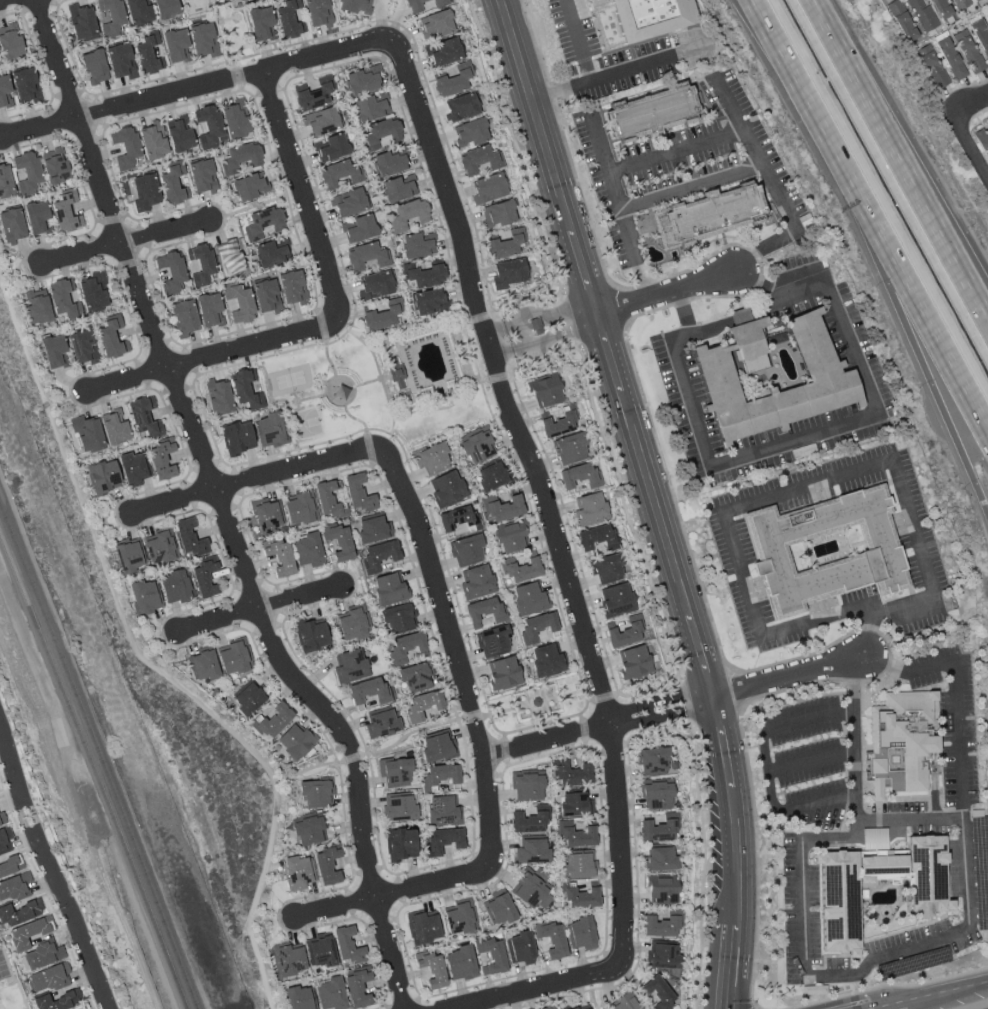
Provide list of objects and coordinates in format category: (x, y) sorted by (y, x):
road: (3, 0)
building: (231, 0)
building: (440, 2)
building: (980, 2)
building: (958, 4)
building: (355, 6)
building: (414, 6)
building: (166, 8)
building: (941, 9)
building: (317, 11)
building: (138, 12)
building: (922, 14)
building: (110, 16)
building: (651, 17)
building: (289, 19)
building: (987, 19)
road: (226, 20)
road: (234, 20)
building: (901, 21)
building: (81, 23)
building: (261, 23)
building: (435, 25)
road: (222, 30)
building: (980, 34)
building: (203, 40)
road: (578, 41)
building: (10, 43)
road: (534, 43)
building: (175, 46)
building: (968, 51)
building: (445, 53)
building: (147, 54)
building: (949, 56)
building: (120, 61)
road: (792, 65)
building: (94, 66)
building: (931, 67)
road: (43, 73)
road: (614, 75)
road: (236, 76)
building: (363, 81)
building: (452, 83)
building: (25, 85)
road: (968, 85)
road: (193, 88)
road: (280, 89)
building: (4, 92)
road: (267, 92)
building: (314, 95)
road: (550, 95)
road: (256, 97)
road: (973, 100)
building: (461, 107)
building: (369, 108)
building: (654, 111)
road: (981, 113)
building: (234, 120)
building: (320, 121)
building: (208, 127)
building: (470, 132)
building: (380, 133)
building: (179, 135)
building: (982, 140)
building: (152, 143)
road: (967, 145)
road: (447, 146)
building: (125, 147)
building: (330, 148)
road: (676, 151)
building: (240, 158)
road: (901, 158)
building: (479, 160)
building: (387, 164)
building: (55, 167)
building: (27, 172)
building: (339, 174)
building: (201, 177)
building: (5, 181)
building: (173, 185)
building: (249, 187)
road: (691, 187)
road: (774, 187)
building: (488, 188)
building: (397, 190)
building: (144, 192)
road: (302, 193)
building: (348, 203)
road: (584, 207)
road: (620, 207)
road: (937, 209)
building: (66, 212)
building: (498, 214)
building: (408, 215)
building: (710, 216)
building: (37, 217)
building: (262, 223)
building: (12, 225)
building: (360, 229)
road: (122, 242)
building: (506, 245)
building: (415, 246)
building: (270, 254)
road: (753, 254)
building: (366, 256)
building: (229, 258)
road: (702, 262)
building: (199, 263)
road: (761, 269)
building: (170, 272)
traffic signals: (735, 272)
road: (147, 274)
building: (508, 274)
building: (423, 275)
road: (907, 277)
road: (758, 283)
building: (374, 285)
road: (644, 285)
building: (293, 288)
building: (93, 292)
road: (666, 292)
building: (267, 296)
road: (560, 297)
road: (722, 297)
building: (64, 299)
building: (427, 302)
road: (680, 302)
building: (239, 303)
road: (625, 305)
building: (36, 307)
building: (209, 310)
building: (381, 316)
road: (538, 317)
building: (183, 318)
road: (477, 318)
road: (739, 318)
road: (570, 320)
road: (907, 322)
road: (319, 327)
road: (523, 334)
building: (111, 337)
road: (500, 338)
road: (546, 339)
road: (576, 345)
building: (82, 347)
road: (369, 350)
building: (54, 351)
road: (211, 356)
road: (327, 361)
road: (509, 364)
road: (514, 367)
road: (500, 377)
building: (832, 379)
park: (290, 380)
building: (398, 380)
road: (327, 381)
road: (485, 381)
building: (246, 388)
building: (546, 392)
building: (218, 396)
road: (310, 398)
road: (296, 402)
road: (407, 414)
building: (144, 417)
road: (354, 419)
park: (308, 423)
building: (558, 424)
road: (392, 426)
building: (114, 427)
building: (270, 430)
road: (813, 433)
building: (87, 434)
building: (237, 438)
building: (476, 447)
building: (570, 448)
road: (368, 449)
road: (217, 453)
building: (431, 458)
building: (162, 460)
building: (132, 469)
road: (258, 476)
building: (490, 476)
building: (579, 476)
building: (103, 477)
road: (803, 488)
building: (446, 489)
building: (357, 493)
road: (543, 493)
road: (654, 497)
building: (327, 499)
building: (502, 507)
road: (222, 508)
building: (590, 508)
building: (300, 509)
road: (170, 516)
building: (265, 516)
building: (458, 519)
building: (372, 530)
building: (510, 537)
building: (596, 537)
building: (190, 538)
road: (686, 538)
building: (338, 541)
building: (160, 548)
building: (308, 551)
building: (466, 551)
building: (880, 553)
building: (378, 556)
building: (129, 557)
building: (279, 557)
building: (520, 568)
building: (607, 568)
building: (206, 579)
building: (476, 582)
building: (175, 587)
building: (388, 588)
building: (145, 597)
building: (529, 599)
building: (617, 600)
road: (260, 610)
building: (484, 612)
building: (399, 619)
building: (353, 624)
building: (537, 627)
road: (866, 628)
building: (625, 632)
building: (310, 635)
building: (492, 641)
road: (887, 644)
building: (406, 646)
road: (458, 646)
building: (233, 657)
building: (547, 660)
road: (144, 662)
building: (634, 663)
building: (350, 664)
building: (203, 666)
road: (888, 667)
building: (503, 673)
road: (790, 676)
building: (415, 677)
road: (872, 680)
road: (852, 681)
road: (733, 690)
building: (368, 691)
road: (954, 695)
road: (602, 696)
building: (248, 699)
road: (536, 702)
road: (685, 702)
building: (422, 706)
road: (476, 716)
building: (271, 720)
building: (381, 724)
road: (598, 725)
road: (413, 732)
building: (295, 742)
road: (853, 742)
building: (436, 745)
building: (900, 745)
road: (587, 746)
road: (351, 757)
building: (652, 761)
railway: (97, 762)
road: (811, 762)
road: (766, 765)
road: (304, 772)
building: (395, 772)
building: (441, 774)
building: (571, 774)
railway: (92, 775)
building: (527, 786)
building: (315, 793)
building: (656, 795)
building: (575, 805)
road: (752, 805)
building: (399, 808)
building: (442, 811)
building: (2, 819)
building: (528, 822)
road: (69, 825)
building: (658, 830)
building: (308, 831)
building: (575, 834)
road: (65, 837)
road: (836, 838)
building: (442, 841)
building: (401, 844)
road: (634, 847)
building: (531, 851)
building: (8, 855)
building: (660, 859)
road: (704, 865)
building: (327, 866)
building: (577, 866)
road: (51, 869)
building: (298, 873)
building: (14, 887)
building: (662, 889)
road: (400, 890)
building: (531, 891)
building: (840, 894)
building: (581, 898)
building: (498, 910)
building: (19, 912)
building: (460, 918)
building: (660, 926)
building: (422, 928)
building: (28, 932)
building: (581, 934)
building: (551, 939)
building: (347, 945)
road: (922, 946)
building: (520, 948)
building: (320, 952)
building: (490, 955)
building: (42, 956)
building: (664, 957)
building: (287, 960)
building: (460, 963)
building: (432, 970)
building: (48, 978)
road: (889, 986)
road: (531, 987)
building: (357, 988)
building: (814, 990)
building: (659, 993)
building: (330, 994)
road: (943, 994)
building: (300, 998)
road: (419, 998)
road: (551, 999)
road: (592, 999)
building: (57, 1001)
road: (401, 1004)
building: (625, 1004)
street lamp: (756, 1004)
road: (384, 1007)
building: (548, 1007)
building: (570, 1007)
road: (891, 1007)
building: (583, 1008)

